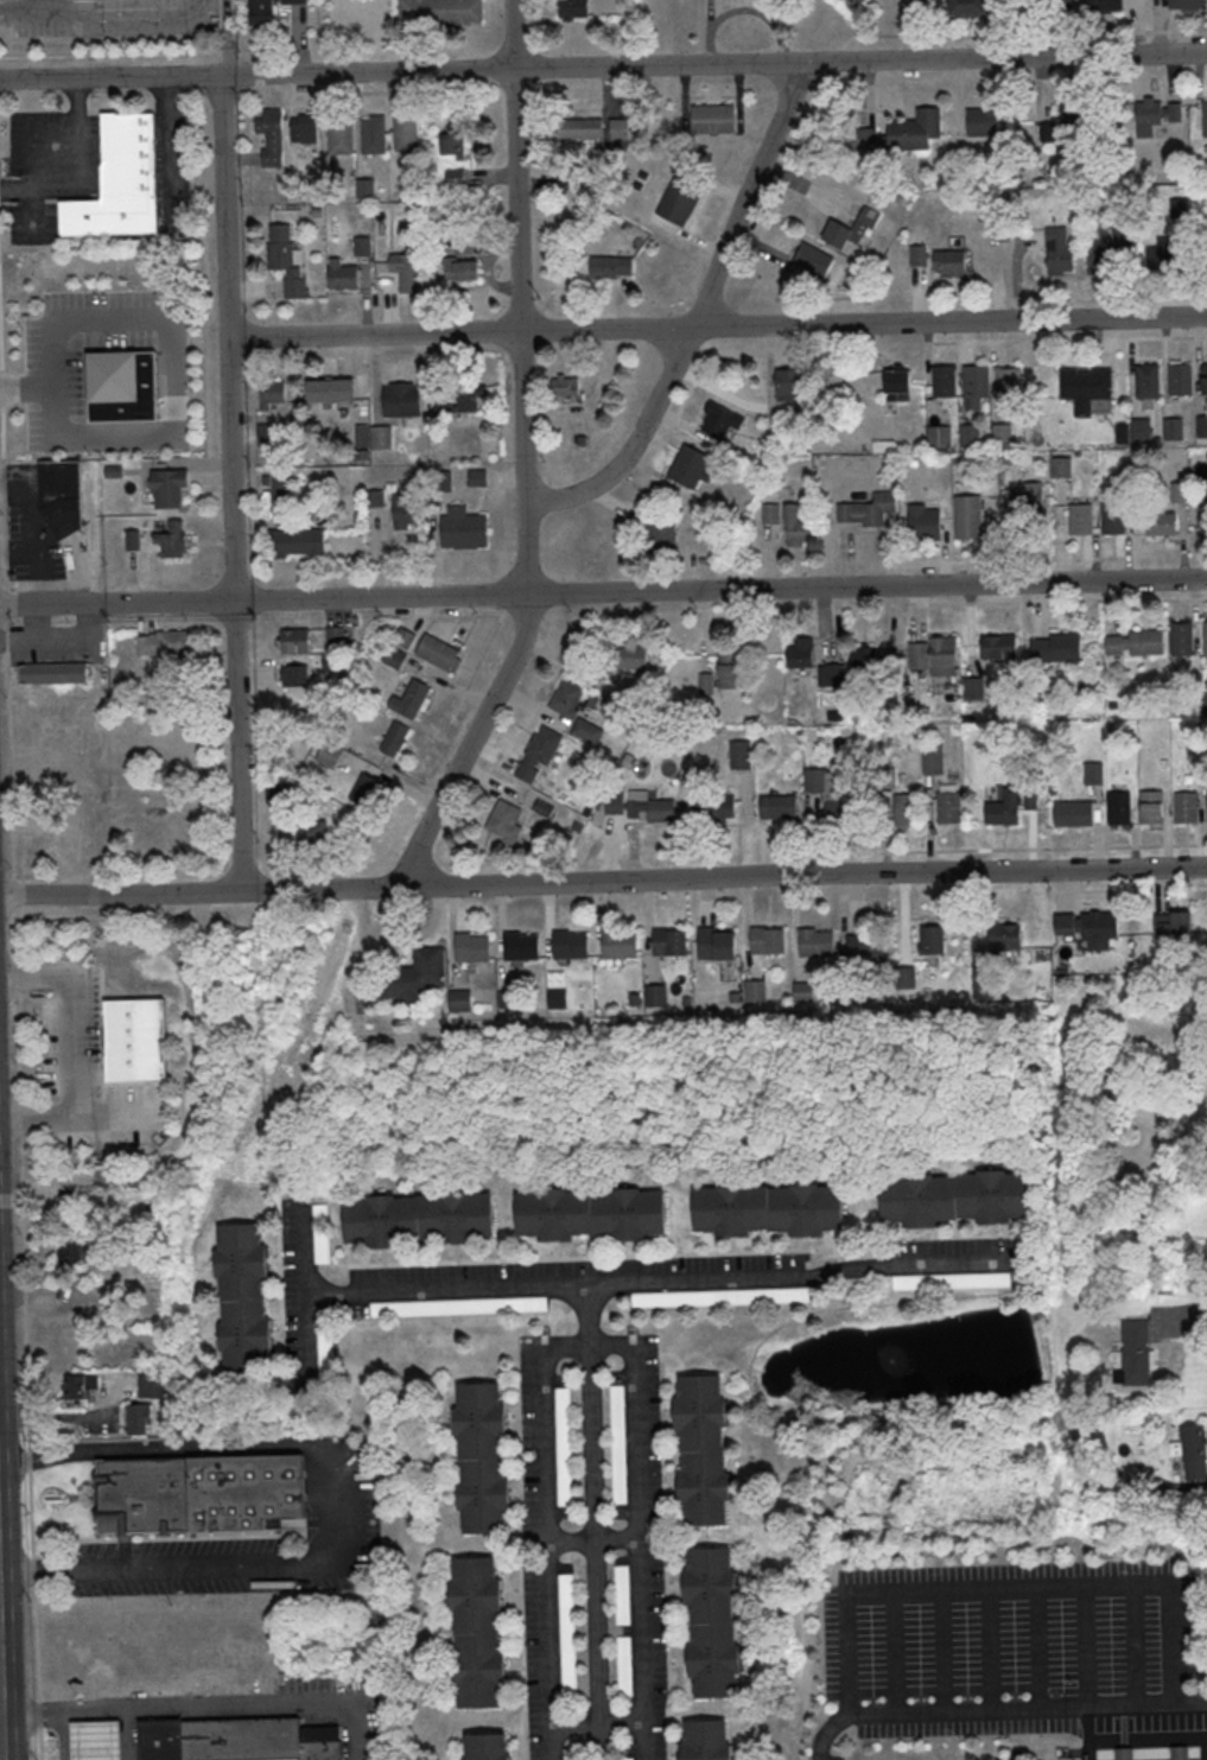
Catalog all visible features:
building: (1188, 2)
building: (1055, 4)
building: (1104, 5)
building: (968, 6)
road: (26, 8)
building: (573, 8)
building: (265, 12)
building: (441, 12)
road: (713, 64)
road: (110, 78)
building: (1154, 115)
building: (712, 119)
building: (1205, 119)
building: (1063, 121)
building: (983, 122)
building: (304, 127)
building: (580, 128)
building: (620, 129)
building: (904, 133)
building: (341, 135)
building: (374, 135)
building: (406, 135)
building: (272, 136)
building: (451, 142)
parking lot: (52, 170)
road: (77, 173)
building: (455, 178)
building: (120, 180)
building: (333, 183)
building: (367, 189)
building: (679, 199)
building: (851, 229)
building: (1170, 241)
building: (464, 246)
building: (363, 247)
building: (1106, 247)
building: (1059, 250)
road: (517, 254)
building: (919, 256)
building: (813, 258)
building: (951, 261)
building: (286, 262)
building: (610, 267)
building: (462, 268)
building: (406, 271)
building: (343, 275)
road: (695, 314)
road: (717, 326)
road: (0, 342)
road: (177, 369)
building: (1205, 377)
building: (1182, 380)
building: (945, 381)
building: (976, 381)
building: (1149, 381)
building: (1009, 383)
building: (789, 385)
building: (897, 385)
building: (122, 386)
building: (568, 387)
building: (1086, 388)
road: (2, 390)
road: (23, 390)
building: (331, 390)
building: (273, 393)
building: (401, 400)
building: (462, 401)
building: (717, 422)
building: (1202, 426)
building: (1142, 430)
building: (1174, 430)
building: (267, 434)
building: (968, 434)
building: (939, 436)
building: (381, 438)
building: (690, 466)
building: (114, 472)
building: (478, 478)
building: (440, 482)
road: (230, 484)
building: (281, 487)
building: (169, 488)
building: (1177, 493)
building: (62, 496)
building: (1027, 496)
building: (375, 500)
road: (5, 501)
building: (866, 509)
building: (404, 510)
building: (770, 513)
building: (1202, 513)
building: (967, 517)
building: (925, 520)
building: (1081, 520)
building: (1113, 520)
building: (1162, 523)
building: (462, 527)
building: (796, 527)
building: (661, 532)
building: (171, 540)
building: (298, 541)
road: (526, 552)
road: (603, 595)
road: (7, 604)
building: (335, 637)
building: (405, 638)
building: (1182, 638)
building: (1206, 638)
building: (296, 641)
building: (166, 643)
building: (1137, 643)
parking lot: (56, 644)
building: (999, 646)
building: (1057, 648)
building: (438, 652)
building: (800, 653)
building: (938, 654)
building: (865, 656)
building: (394, 657)
building: (620, 662)
building: (335, 663)
building: (730, 671)
building: (53, 673)
building: (833, 674)
building: (294, 676)
building: (706, 684)
building: (973, 688)
building: (566, 699)
building: (411, 700)
building: (587, 730)
building: (394, 739)
road: (468, 745)
road: (11, 749)
building: (539, 752)
building: (329, 755)
building: (741, 755)
building: (933, 761)
building: (1094, 775)
building: (887, 779)
building: (279, 789)
building: (366, 790)
building: (647, 807)
building: (779, 807)
building: (1152, 807)
building: (717, 808)
building: (948, 808)
building: (1004, 808)
building: (1187, 808)
building: (1120, 809)
building: (907, 811)
building: (837, 812)
building: (1073, 814)
building: (506, 821)
building: (303, 833)
road: (1043, 849)
road: (603, 883)
road: (1130, 890)
road: (14, 894)
building: (1173, 923)
building: (1091, 928)
building: (1006, 938)
building: (933, 940)
building: (768, 941)
building: (671, 942)
building: (817, 942)
building: (717, 943)
building: (571, 945)
building: (620, 945)
building: (472, 947)
building: (522, 947)
building: (870, 955)
building: (412, 977)
building: (904, 978)
building: (984, 981)
building: (756, 991)
building: (803, 992)
building: (656, 996)
building: (558, 999)
building: (460, 1000)
road: (17, 1005)
building: (135, 1040)
road: (66, 1048)
parking lot: (90, 1072)
road: (20, 1118)
road: (21, 1154)
road: (21, 1178)
building: (958, 1199)
building: (768, 1209)
building: (591, 1213)
building: (71, 1214)
building: (420, 1219)
building: (319, 1233)
building: (75, 1252)
road: (802, 1278)
building: (951, 1279)
road: (406, 1290)
road: (25, 1297)
building: (722, 1297)
building: (243, 1298)
building: (459, 1307)
road: (1179, 1316)
road: (307, 1342)
road: (591, 1345)
building: (324, 1351)
building: (1137, 1353)
building: (81, 1386)
building: (152, 1386)
road: (28, 1417)
building: (140, 1418)
road: (64, 1419)
road: (30, 1440)
building: (618, 1446)
building: (565, 1448)
building: (703, 1451)
building: (1194, 1453)
building: (482, 1457)
road: (30, 1462)
building: (1137, 1480)
building: (201, 1493)
road: (339, 1500)
road: (595, 1523)
road: (595, 1540)
parking lot: (255, 1544)
road: (34, 1587)
road: (1011, 1589)
building: (622, 1596)
building: (713, 1622)
building: (477, 1632)
building: (567, 1634)
road: (1135, 1645)
road: (1086, 1647)
road: (1040, 1650)
road: (991, 1651)
road: (944, 1652)
parking lot: (1022, 1652)
road: (895, 1653)
building: (625, 1667)
road: (203, 1705)
road: (1124, 1705)
road: (941, 1713)
road: (40, 1716)
road: (599, 1723)
road: (0, 1737)
building: (96, 1740)
building: (237, 1740)
building: (709, 1741)
road: (42, 1746)
building: (488, 1748)
building: (572, 1754)
building: (1125, 1754)
building: (1181, 1754)
building: (1016, 1756)

